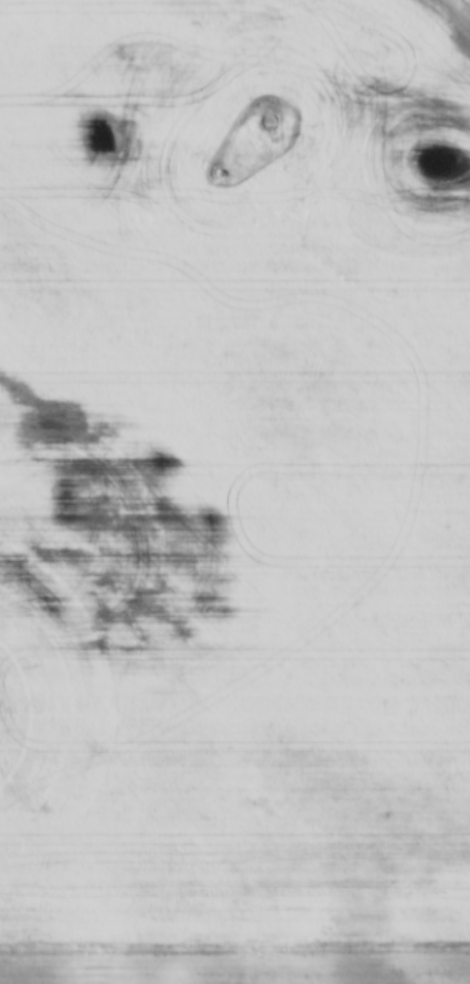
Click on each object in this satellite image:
road: (234, 951)

